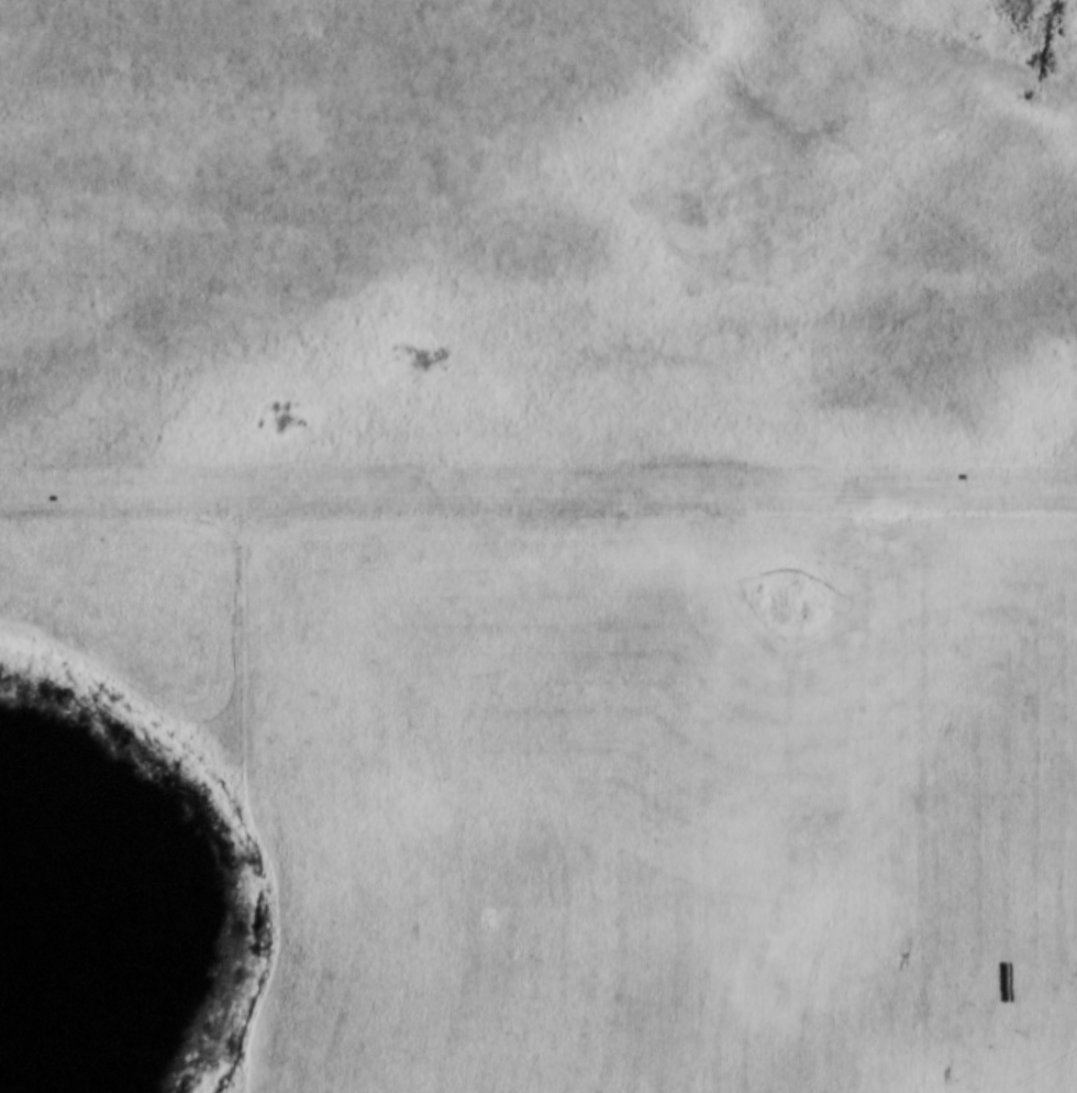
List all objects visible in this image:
road: (538, 487)

